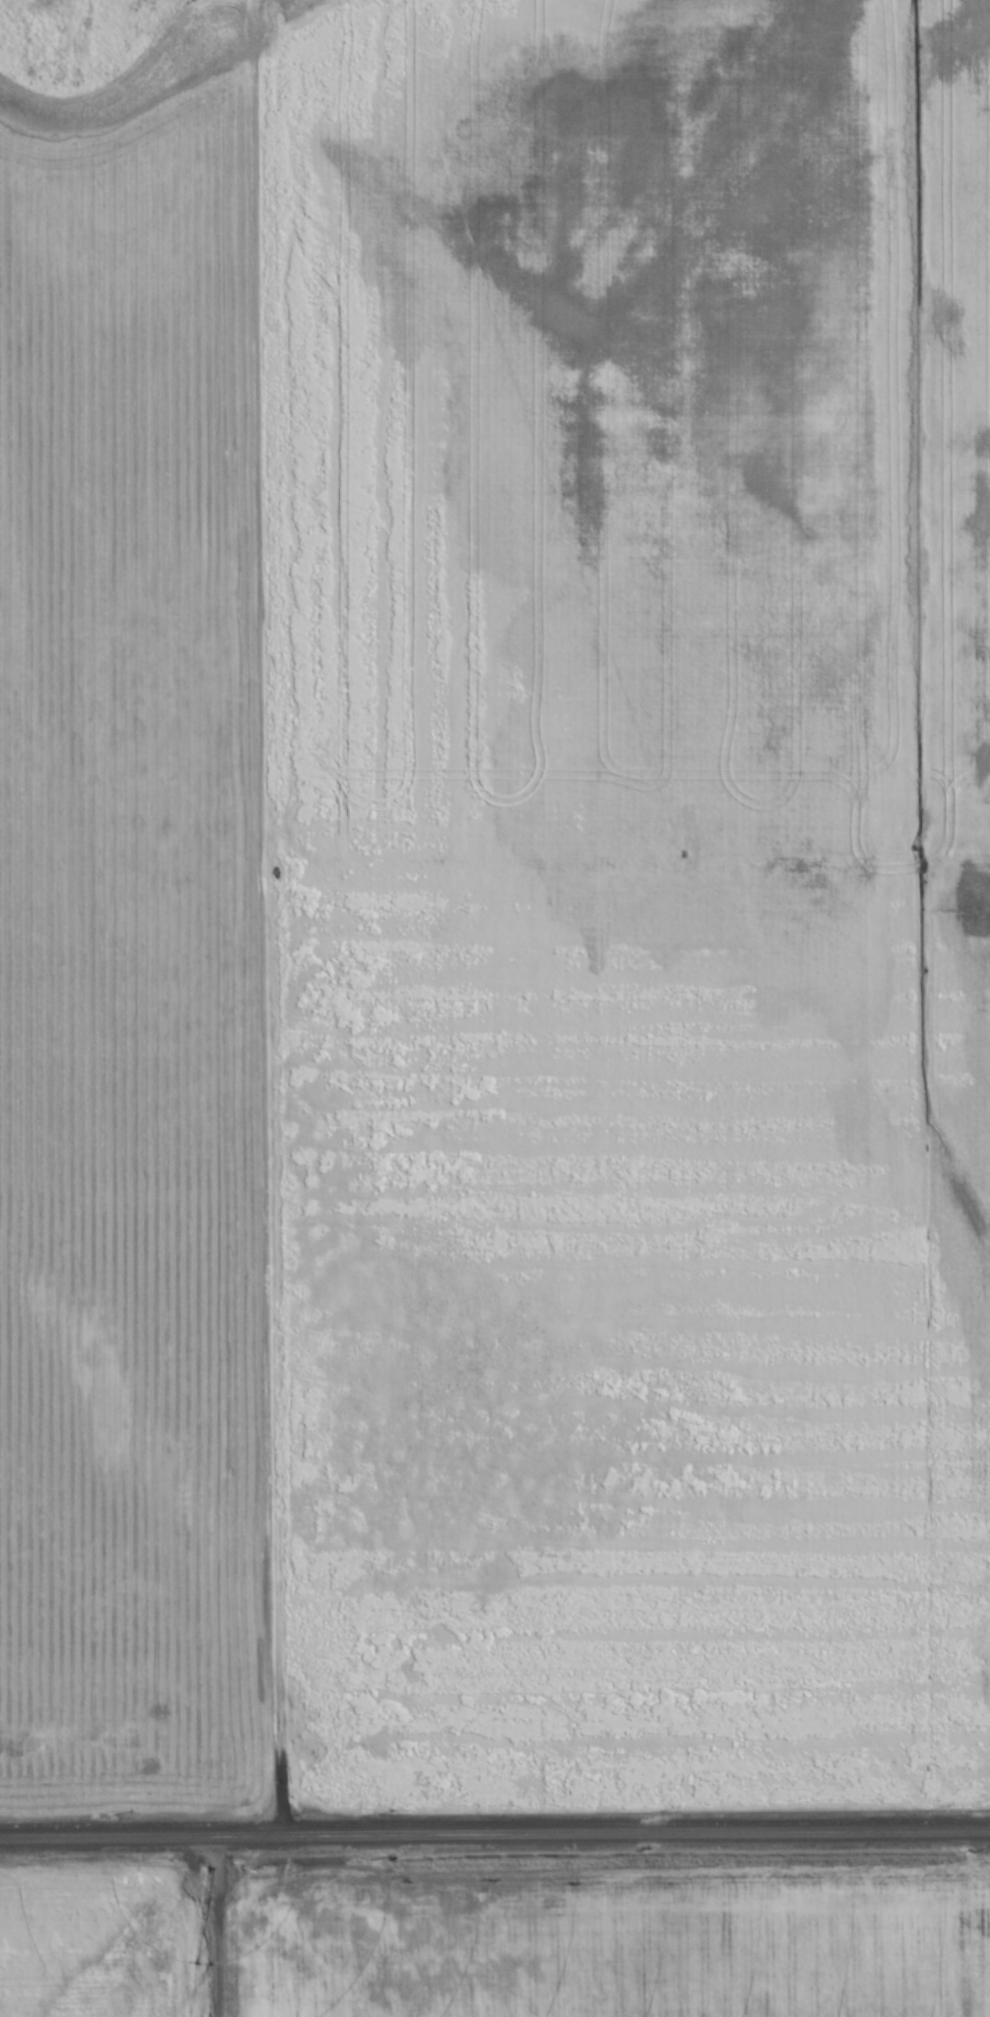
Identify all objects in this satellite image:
crop: (79, 837)
crop: (136, 1450)
road: (495, 1838)

